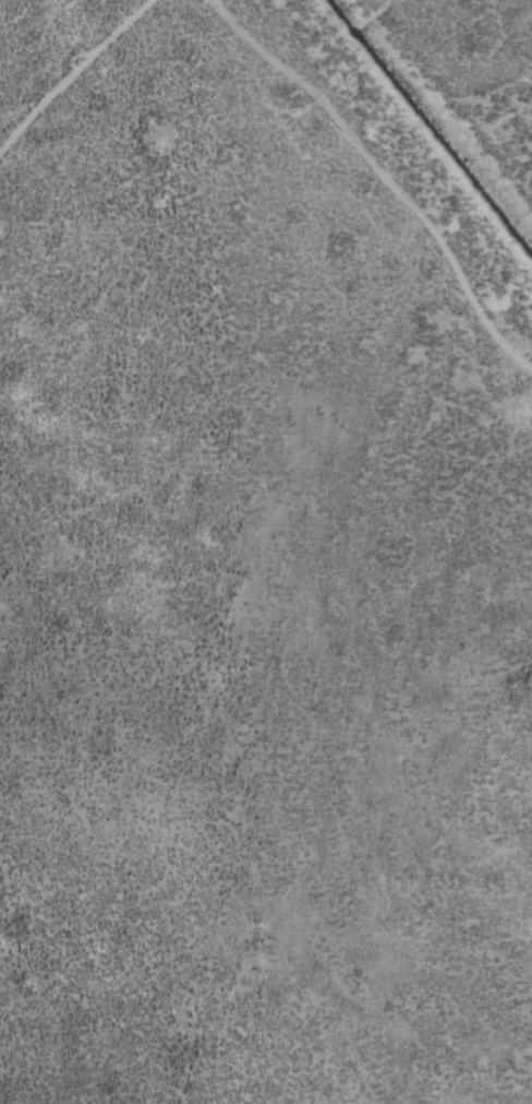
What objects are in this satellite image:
road: (72, 74)
road: (385, 174)

